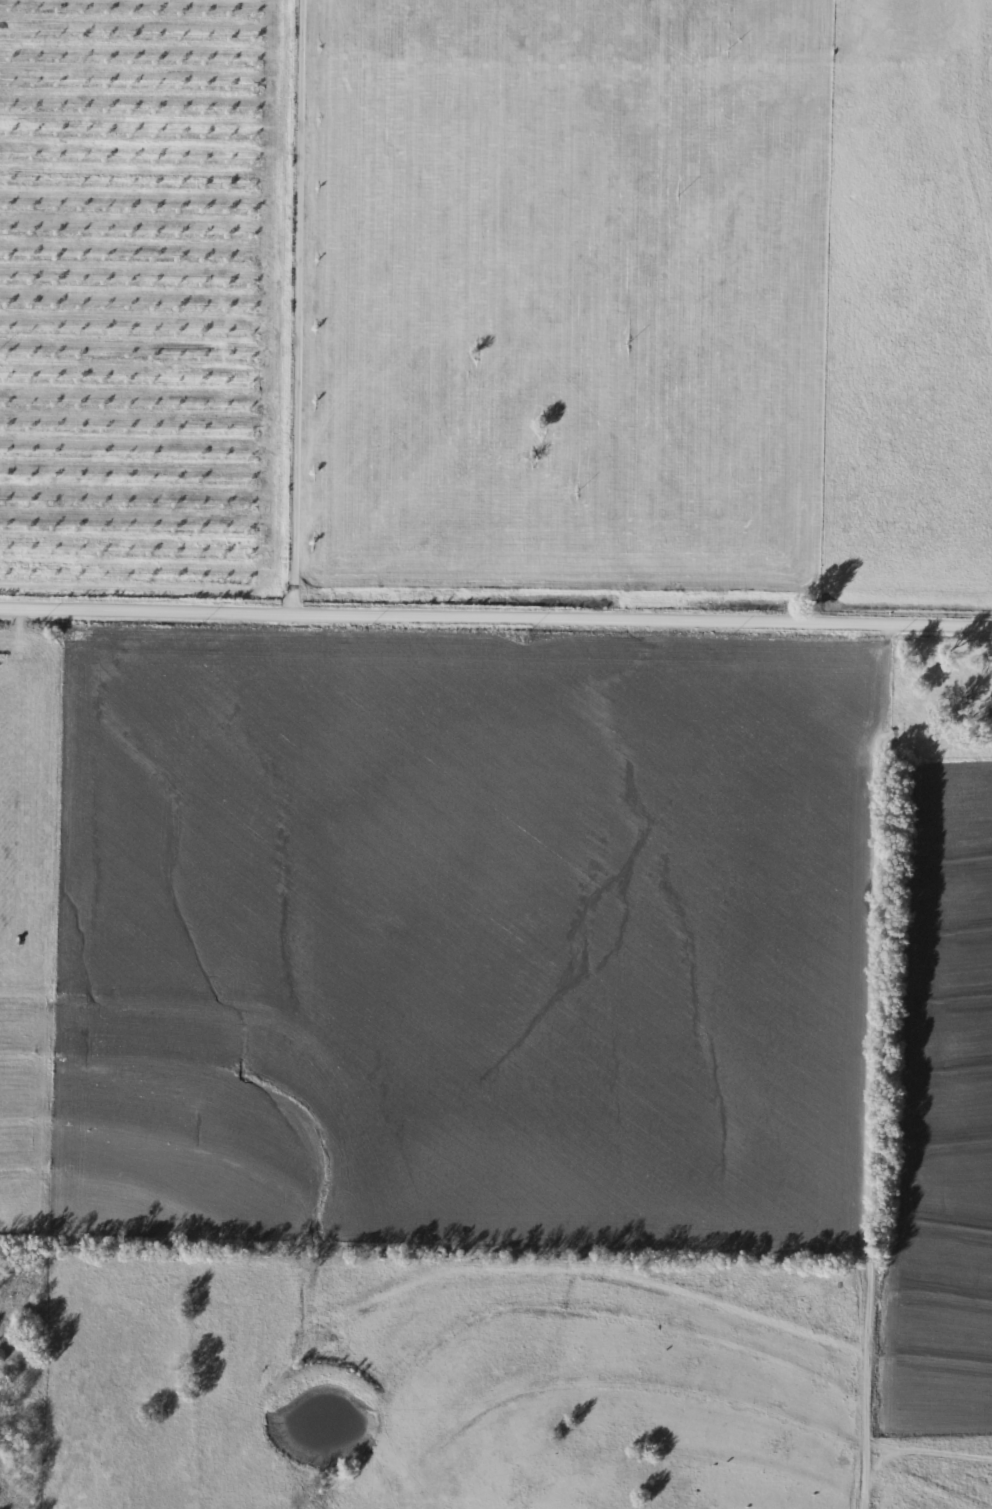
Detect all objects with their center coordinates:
road: (294, 307)
road: (495, 618)
road: (865, 1065)

